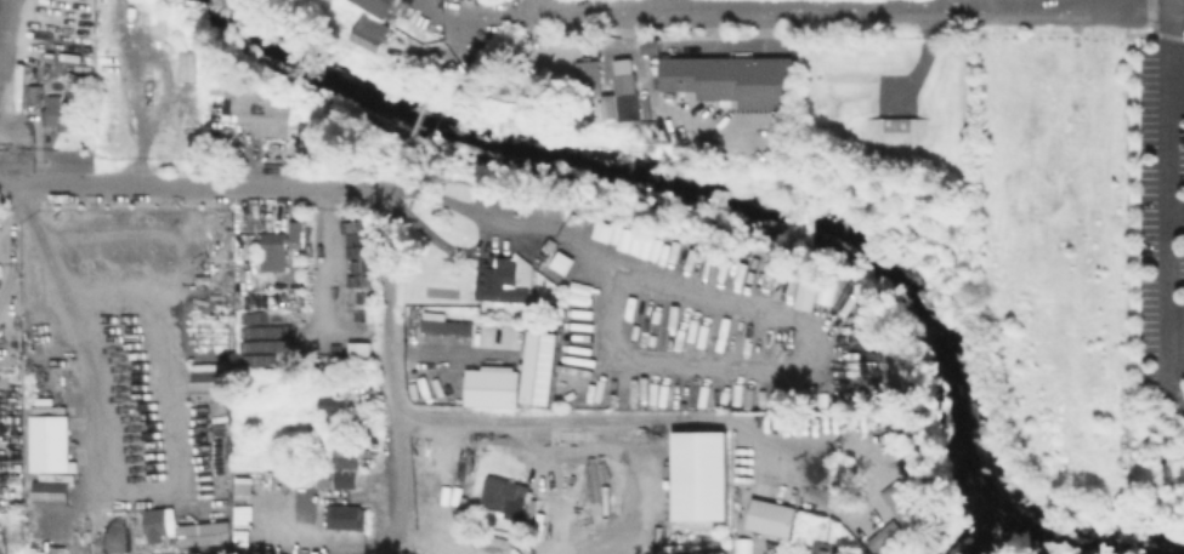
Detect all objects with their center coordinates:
road: (534, 4)
road: (662, 4)
road: (1123, 4)
building: (373, 5)
road: (1152, 5)
road: (662, 7)
road: (963, 7)
road: (475, 25)
building: (367, 32)
building: (647, 45)
building: (186, 64)
building: (194, 68)
building: (215, 76)
building: (590, 79)
building: (738, 81)
building: (35, 91)
building: (628, 107)
building: (253, 110)
building: (61, 113)
road: (188, 187)
road: (1172, 205)
road: (1178, 219)
road: (480, 239)
road: (946, 242)
road: (4, 245)
building: (279, 247)
building: (505, 280)
building: (448, 325)
road: (447, 354)
road: (386, 358)
building: (543, 370)
building: (206, 384)
building: (262, 385)
building: (497, 390)
building: (333, 413)
road: (627, 419)
building: (49, 445)
building: (346, 457)
building: (323, 476)
building: (702, 478)
road: (1155, 478)
building: (346, 479)
road: (179, 489)
building: (47, 491)
building: (505, 496)
building: (901, 497)
building: (772, 515)
building: (346, 518)
building: (160, 524)
building: (886, 537)
road: (454, 539)
building: (822, 547)

